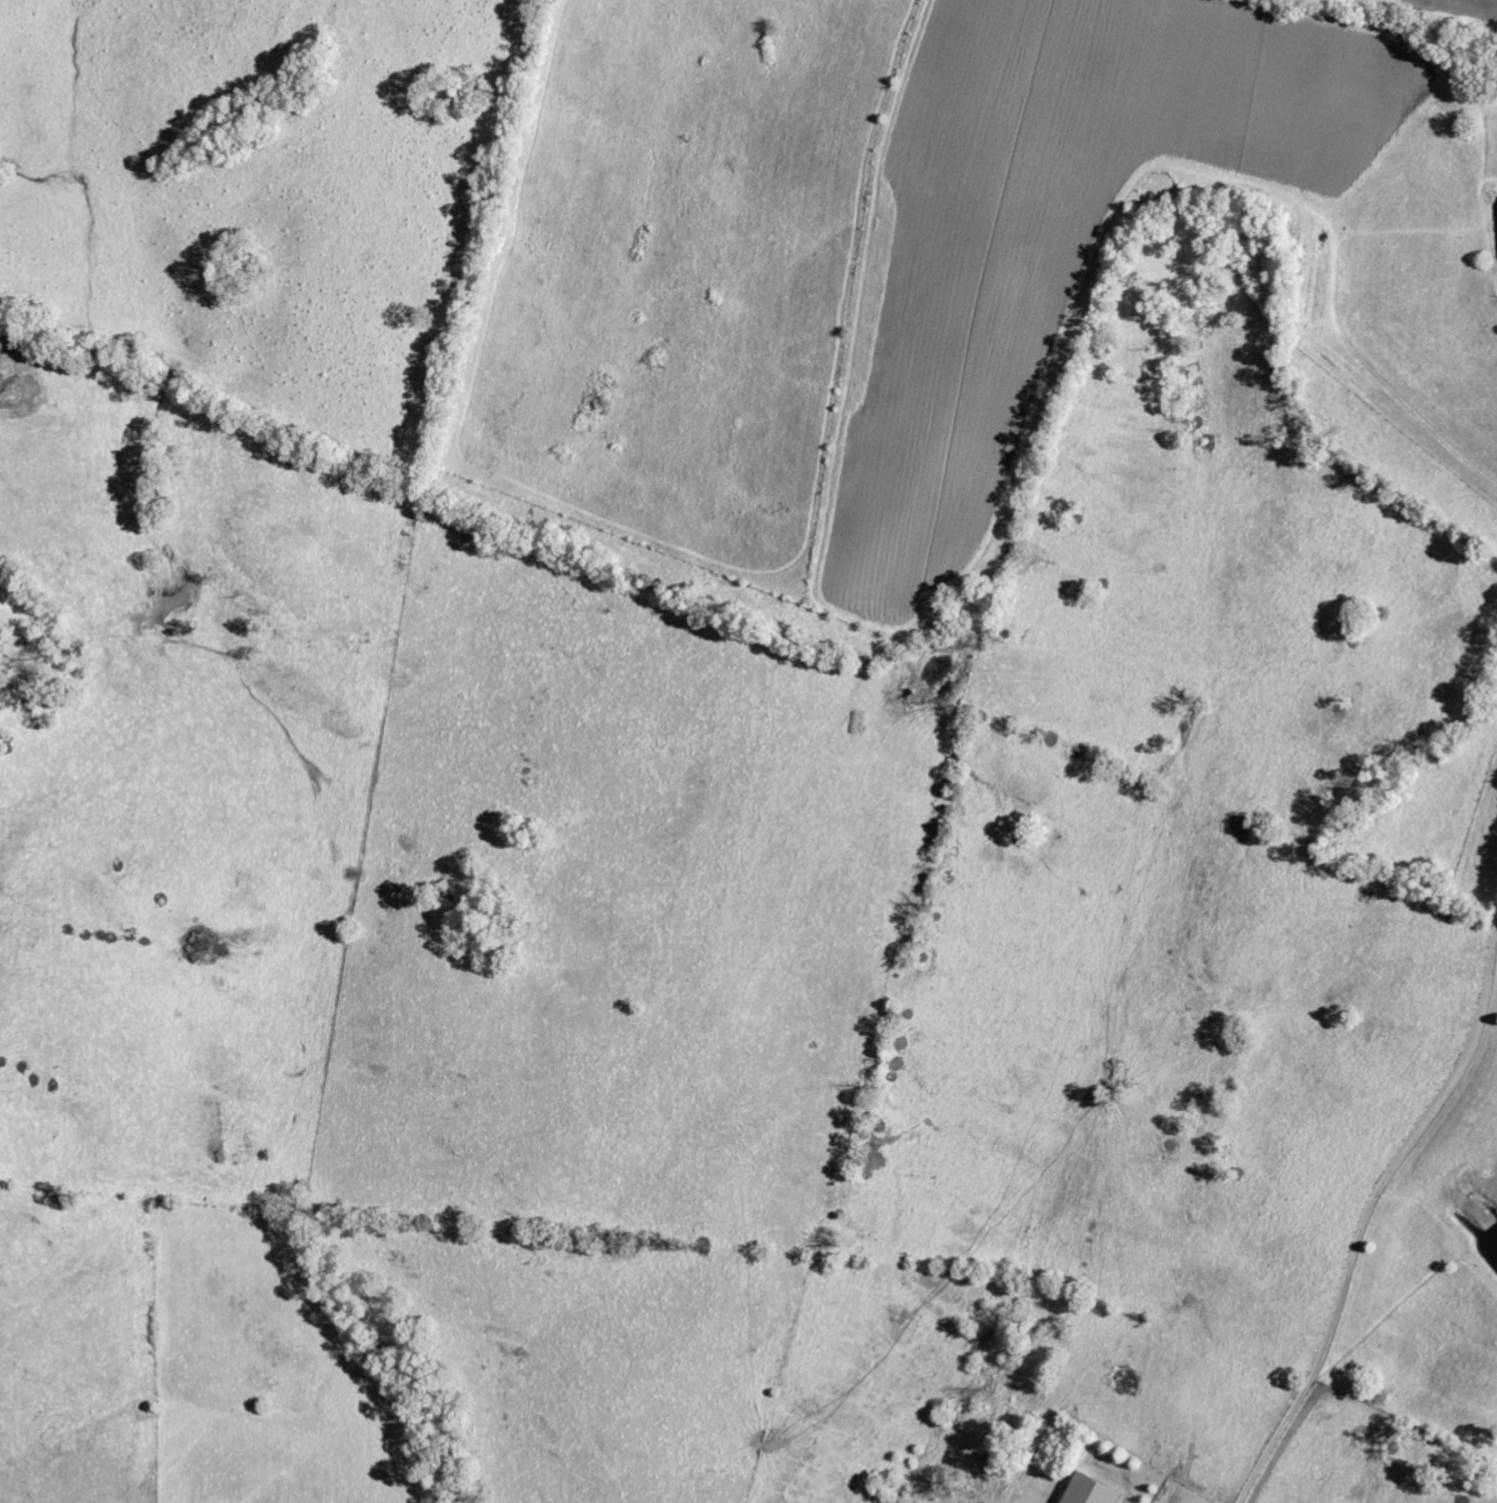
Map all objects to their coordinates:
building: (1092, 1490)

